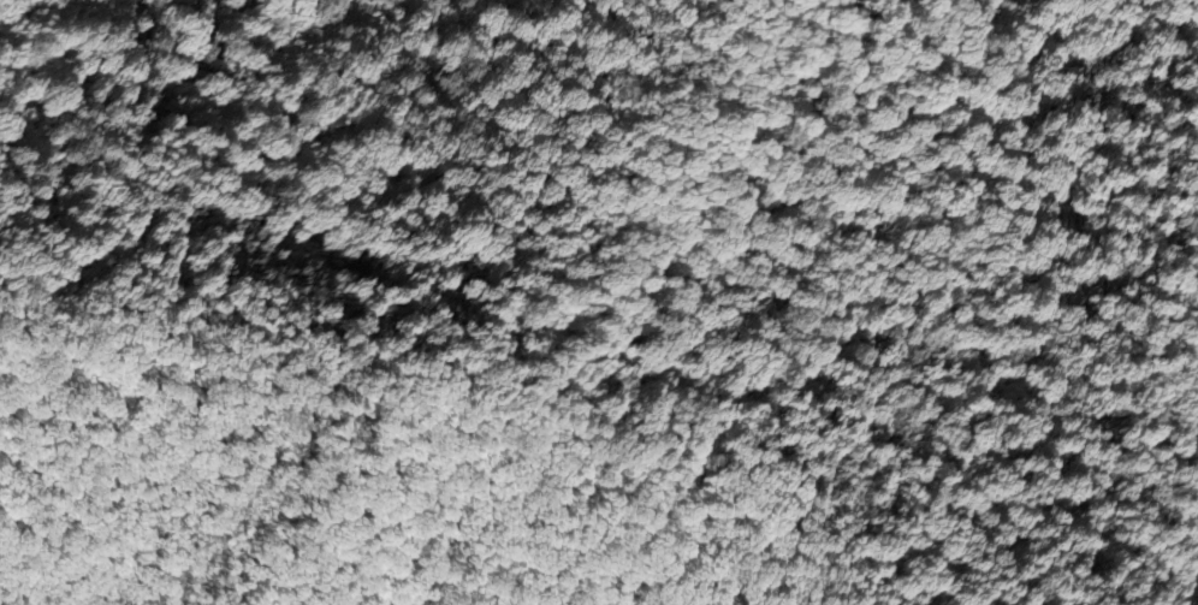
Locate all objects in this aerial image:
road: (452, 376)

